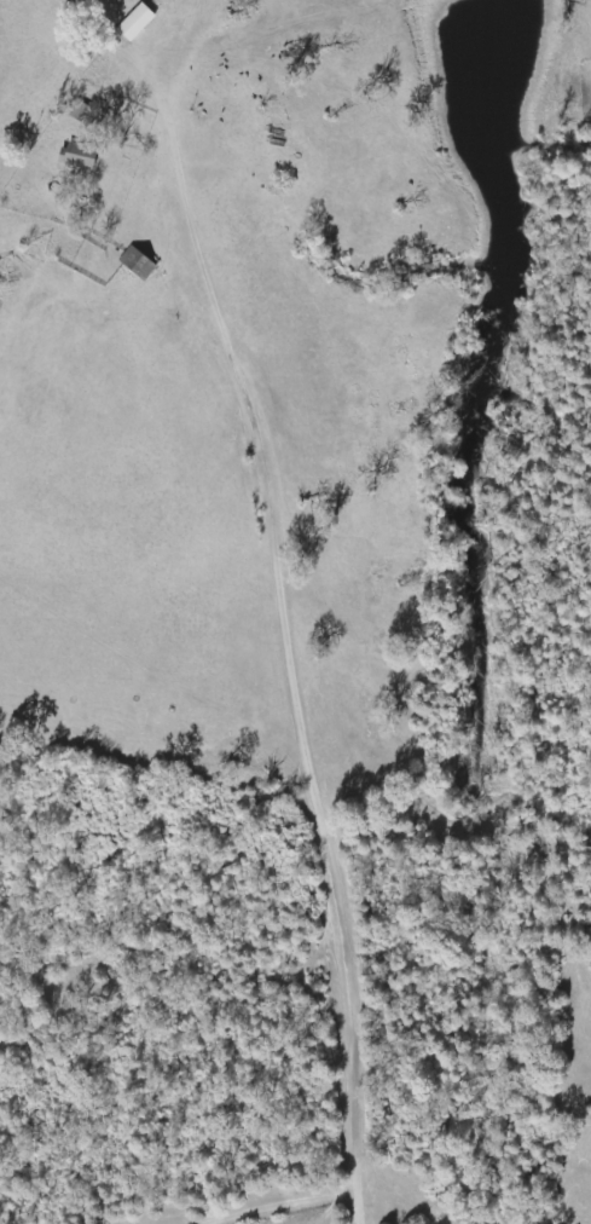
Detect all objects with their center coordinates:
building: (85, 158)
building: (140, 265)
road: (312, 729)

